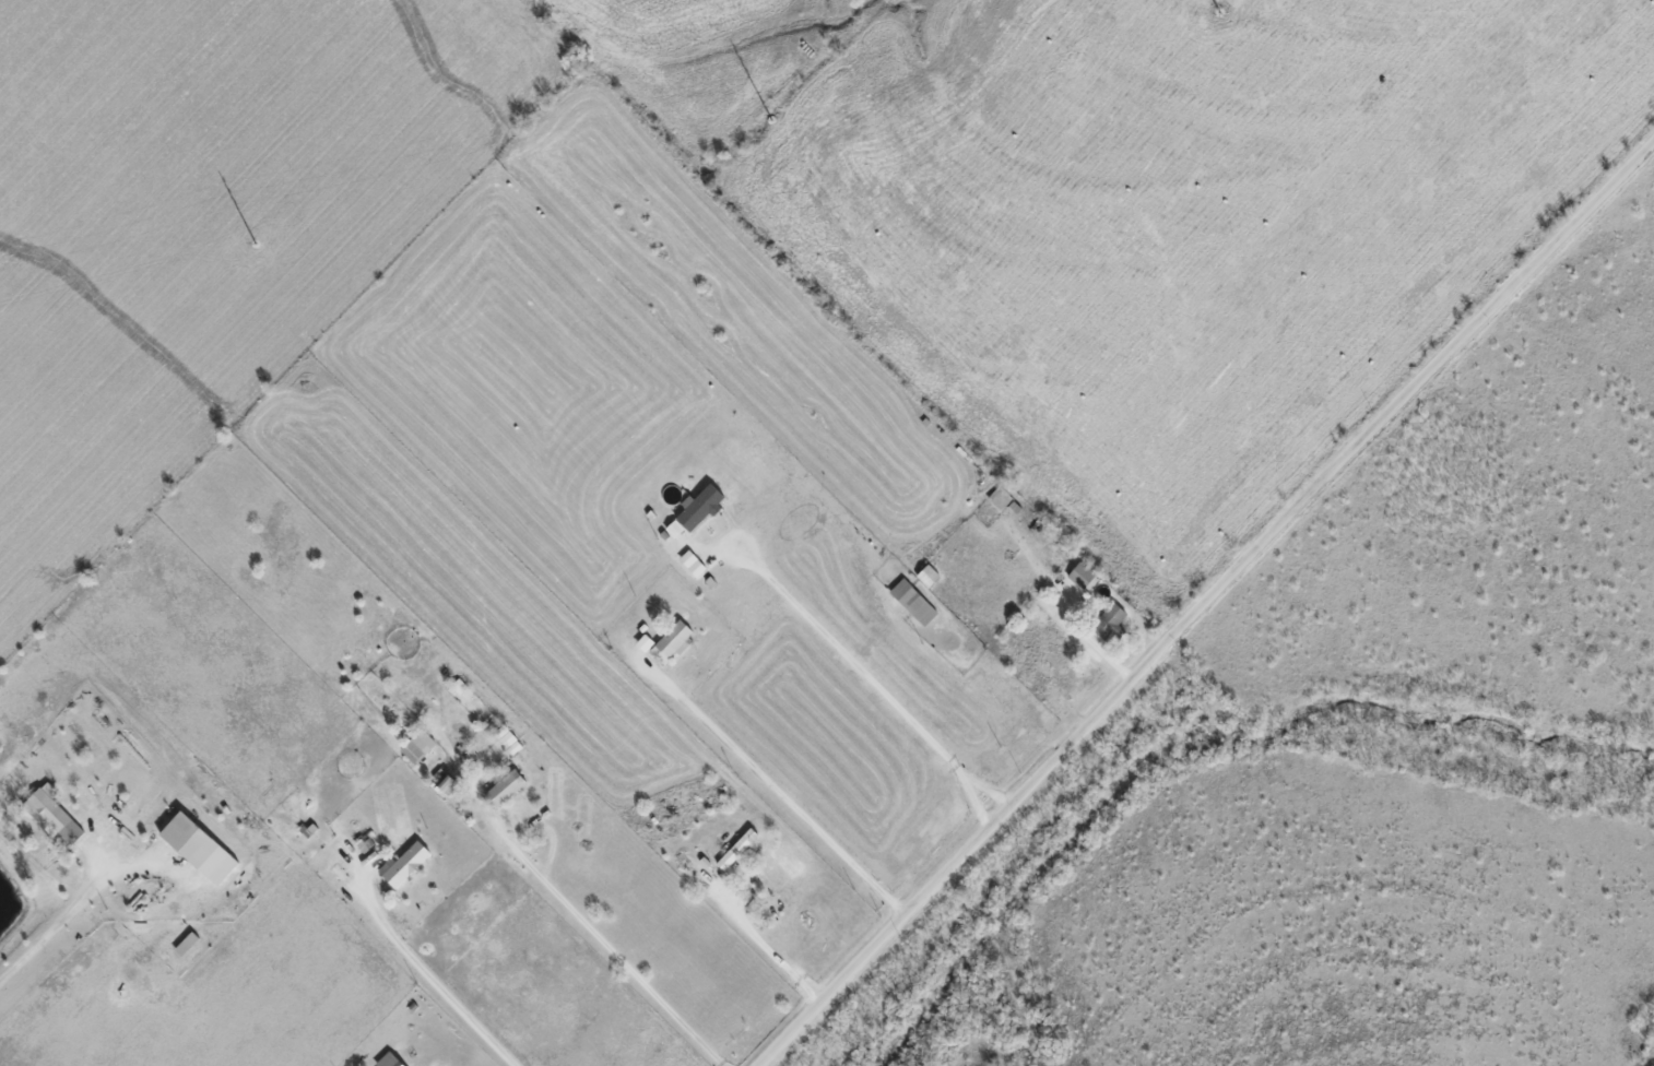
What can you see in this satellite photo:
power tower: (1219, 12)
power tower: (770, 119)
power tower: (256, 242)
building: (693, 510)
building: (925, 576)
building: (1079, 576)
building: (911, 602)
road: (1204, 602)
building: (1107, 621)
building: (641, 643)
road: (849, 660)
building: (506, 739)
building: (415, 746)
building: (446, 784)
road: (985, 787)
building: (503, 789)
road: (772, 793)
road: (973, 801)
building: (50, 815)
building: (196, 849)
building: (734, 850)
building: (401, 865)
road: (568, 909)
road: (56, 923)
road: (771, 954)
road: (425, 975)
building: (387, 1061)

